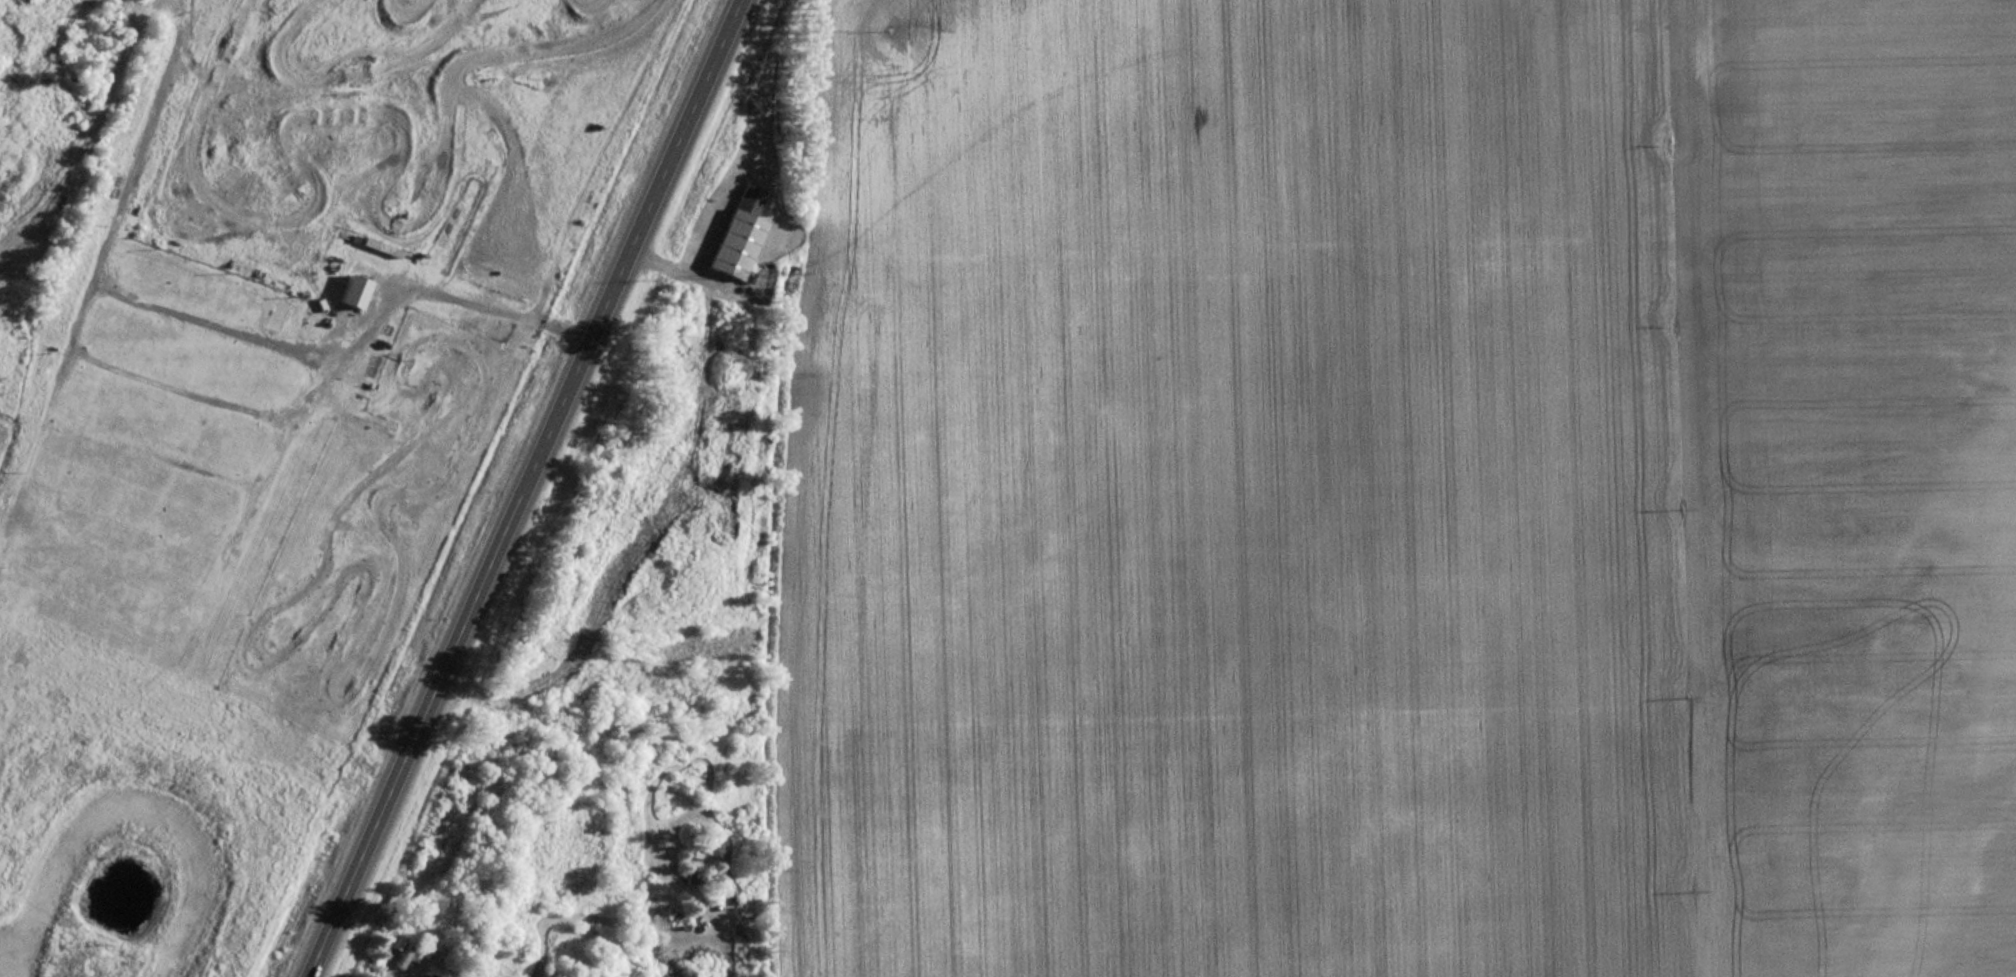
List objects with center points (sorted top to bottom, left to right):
building: (737, 234)
building: (380, 248)
road: (520, 488)
building: (692, 876)
building: (424, 976)

